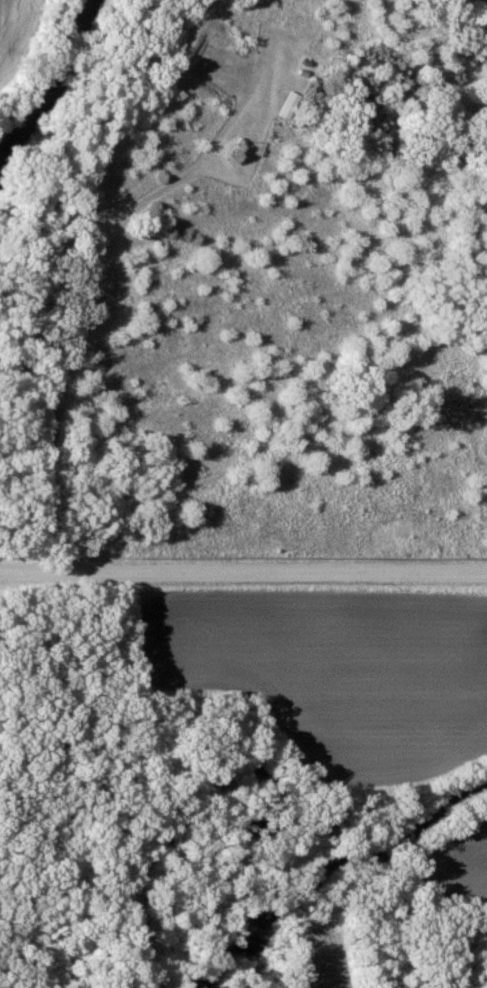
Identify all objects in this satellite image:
river: (60, 80)
road: (243, 570)
river: (183, 806)
river: (344, 867)

